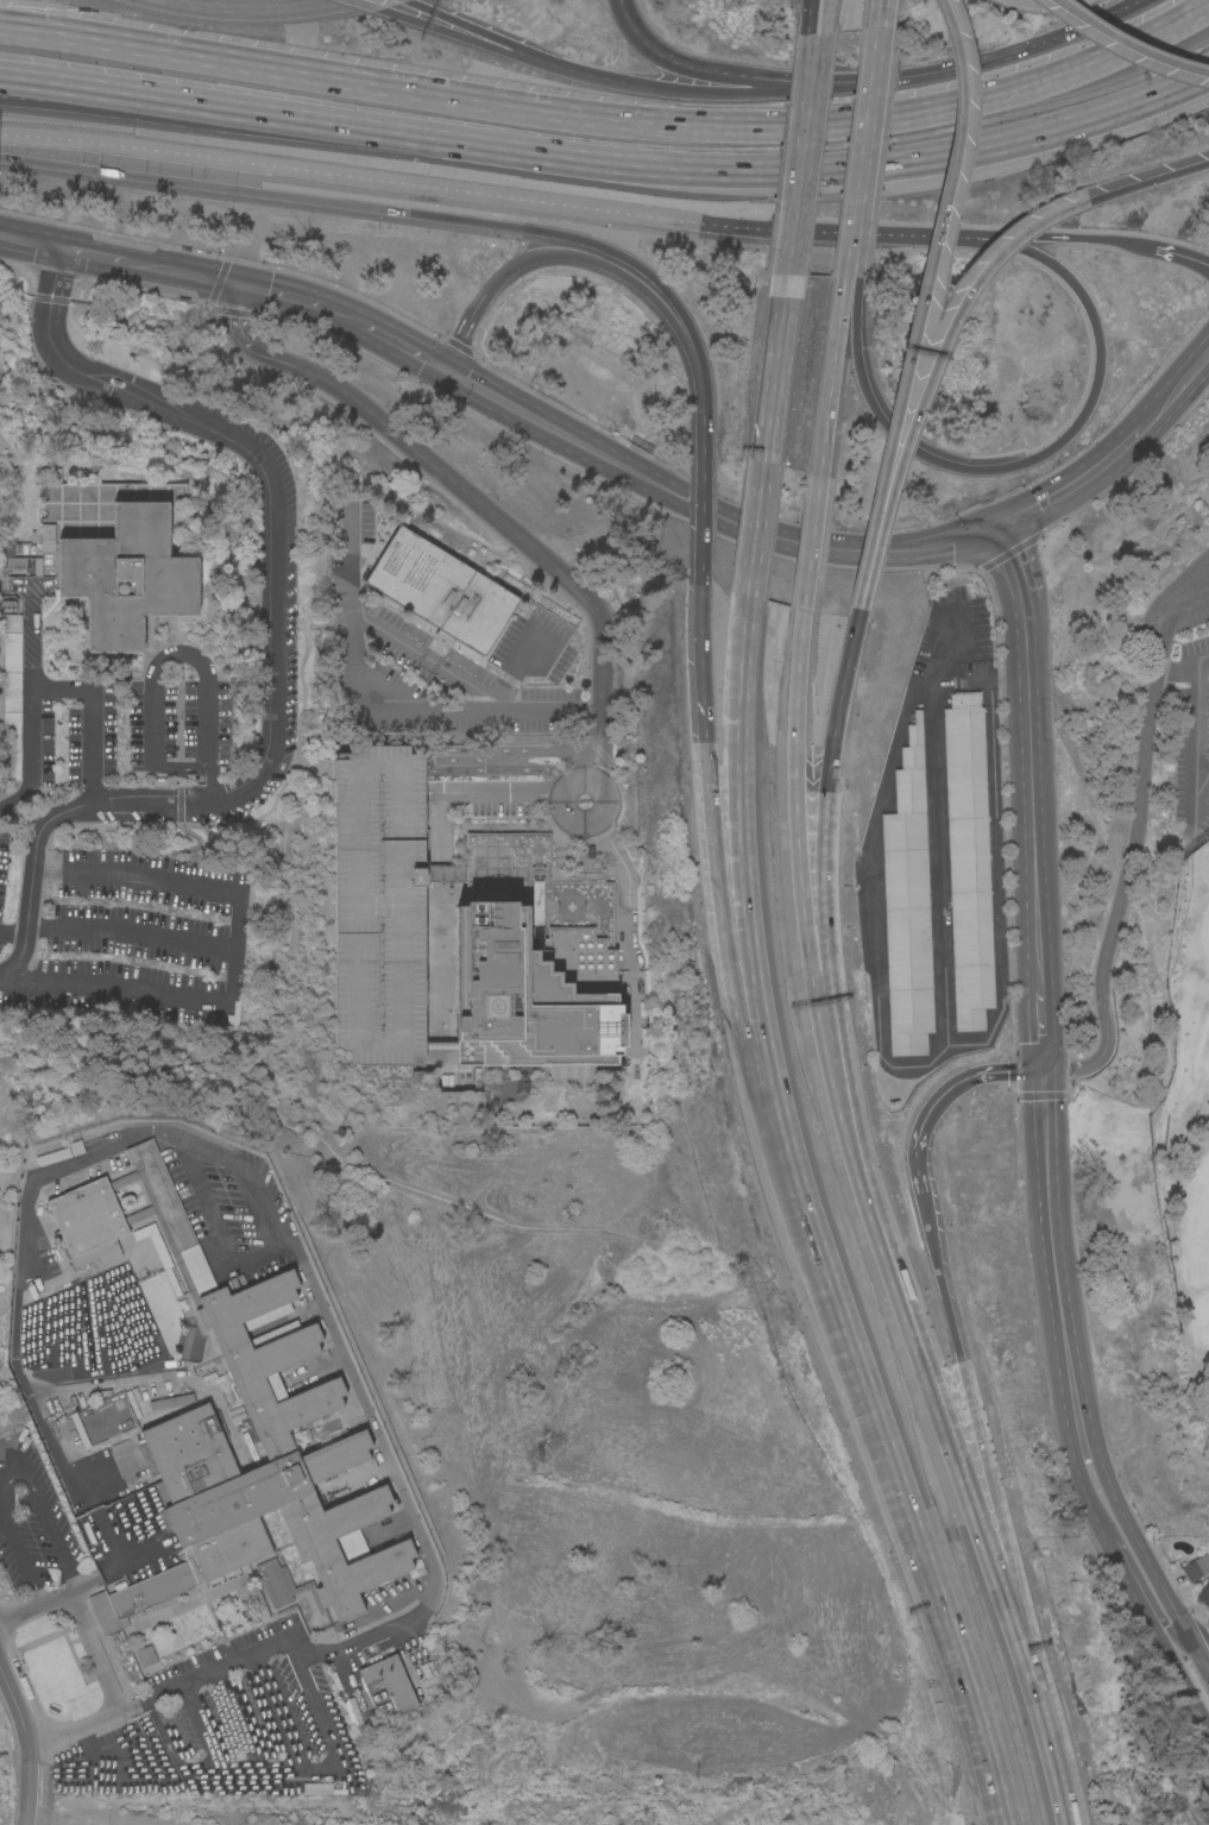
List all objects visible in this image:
road: (407, 1)
road: (322, 5)
road: (366, 5)
road: (1041, 5)
road: (222, 11)
road: (826, 14)
road: (807, 15)
road: (881, 15)
road: (514, 44)
road: (1128, 44)
road: (499, 50)
road: (1000, 58)
road: (875, 63)
road: (717, 73)
road: (96, 90)
road: (732, 95)
road: (1152, 95)
road: (96, 100)
road: (798, 119)
road: (812, 119)
road: (611, 122)
road: (644, 164)
road: (1148, 181)
road: (863, 187)
road: (857, 188)
road: (473, 194)
road: (409, 212)
road: (1049, 237)
road: (791, 240)
road: (30, 241)
road: (97, 254)
road: (1178, 254)
road: (55, 272)
road: (185, 272)
road: (626, 277)
road: (278, 291)
road: (921, 300)
road: (355, 320)
road: (462, 333)
road: (417, 353)
road: (774, 366)
traffic signals: (445, 369)
road: (931, 370)
road: (831, 376)
road: (1180, 384)
road: (703, 439)
road: (1044, 452)
building: (51, 474)
road: (1079, 480)
road: (706, 510)
road: (701, 517)
traffic signals: (995, 526)
road: (754, 528)
road: (810, 542)
building: (7, 548)
road: (1012, 561)
building: (23, 566)
building: (128, 575)
road: (1189, 587)
building: (441, 590)
road: (858, 605)
road: (603, 622)
road: (191, 659)
road: (430, 663)
road: (272, 668)
road: (1176, 673)
road: (48, 687)
building: (12, 697)
road: (1196, 717)
road: (599, 741)
road: (548, 754)
road: (499, 762)
road: (182, 766)
road: (1029, 782)
road: (824, 789)
road: (493, 797)
road: (710, 800)
road: (1198, 803)
road: (939, 819)
road: (563, 832)
road: (995, 838)
road: (1133, 845)
building: (968, 858)
road: (745, 875)
road: (634, 898)
building: (908, 902)
building: (380, 905)
road: (877, 913)
road: (13, 932)
road: (134, 934)
road: (238, 964)
road: (1018, 968)
building: (534, 990)
road: (817, 1019)
road: (1038, 1019)
traffic signals: (1040, 1071)
road: (758, 1085)
road: (962, 1085)
park: (1186, 1158)
road: (920, 1173)
building: (163, 1191)
road: (873, 1192)
road: (1046, 1192)
building: (88, 1215)
road: (1069, 1370)
road: (977, 1441)
road: (14, 1465)
building: (253, 1477)
road: (896, 1486)
road: (1084, 1486)
road: (982, 1548)
road: (1142, 1553)
building: (1196, 1566)
building: (273, 1582)
road: (1132, 1586)
building: (1204, 1592)
road: (1190, 1626)
traffic signals: (1170, 1638)
road: (1180, 1644)
road: (259, 1647)
building: (146, 1655)
road: (95, 1661)
road: (1180, 1675)
building: (389, 1687)
building: (353, 1711)
road: (30, 1739)
road: (1050, 1755)
building: (319, 1787)

